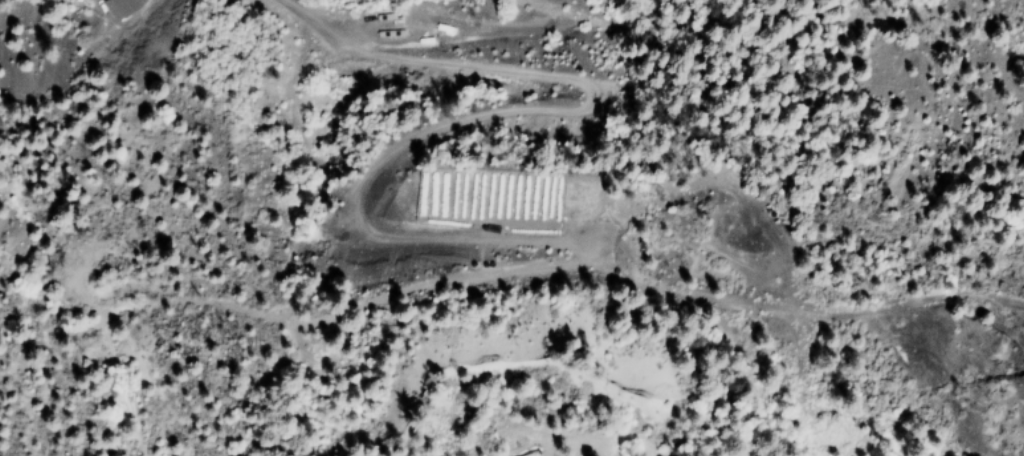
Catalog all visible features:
building: (118, 6)
road: (877, 20)

